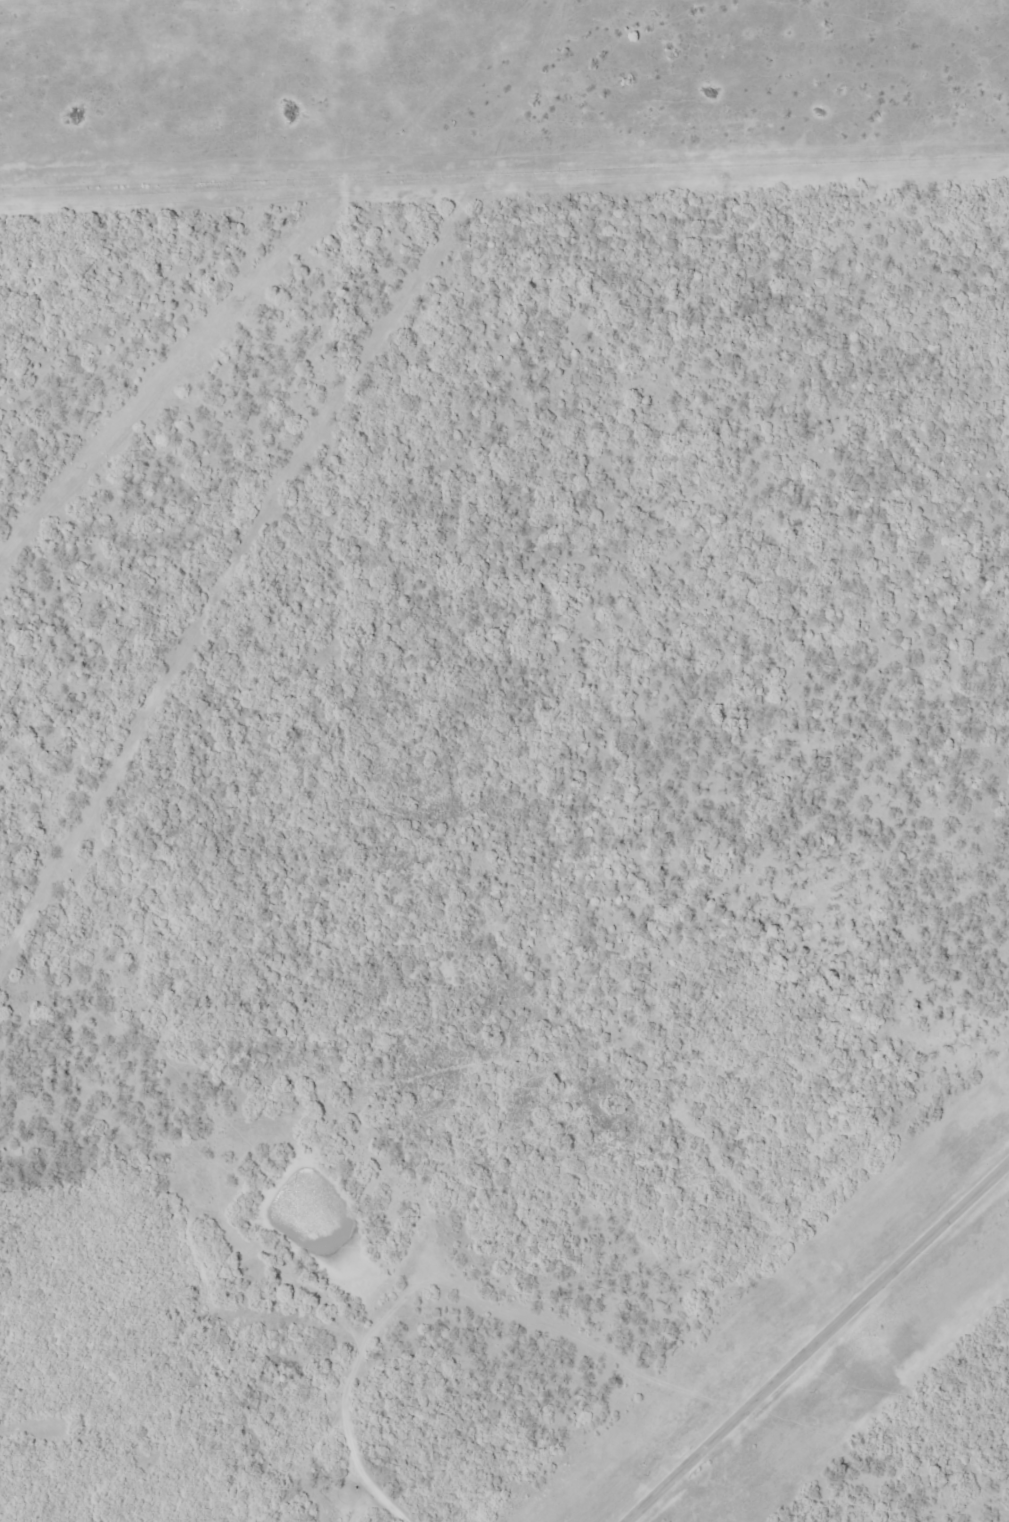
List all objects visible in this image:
road: (829, 1353)

